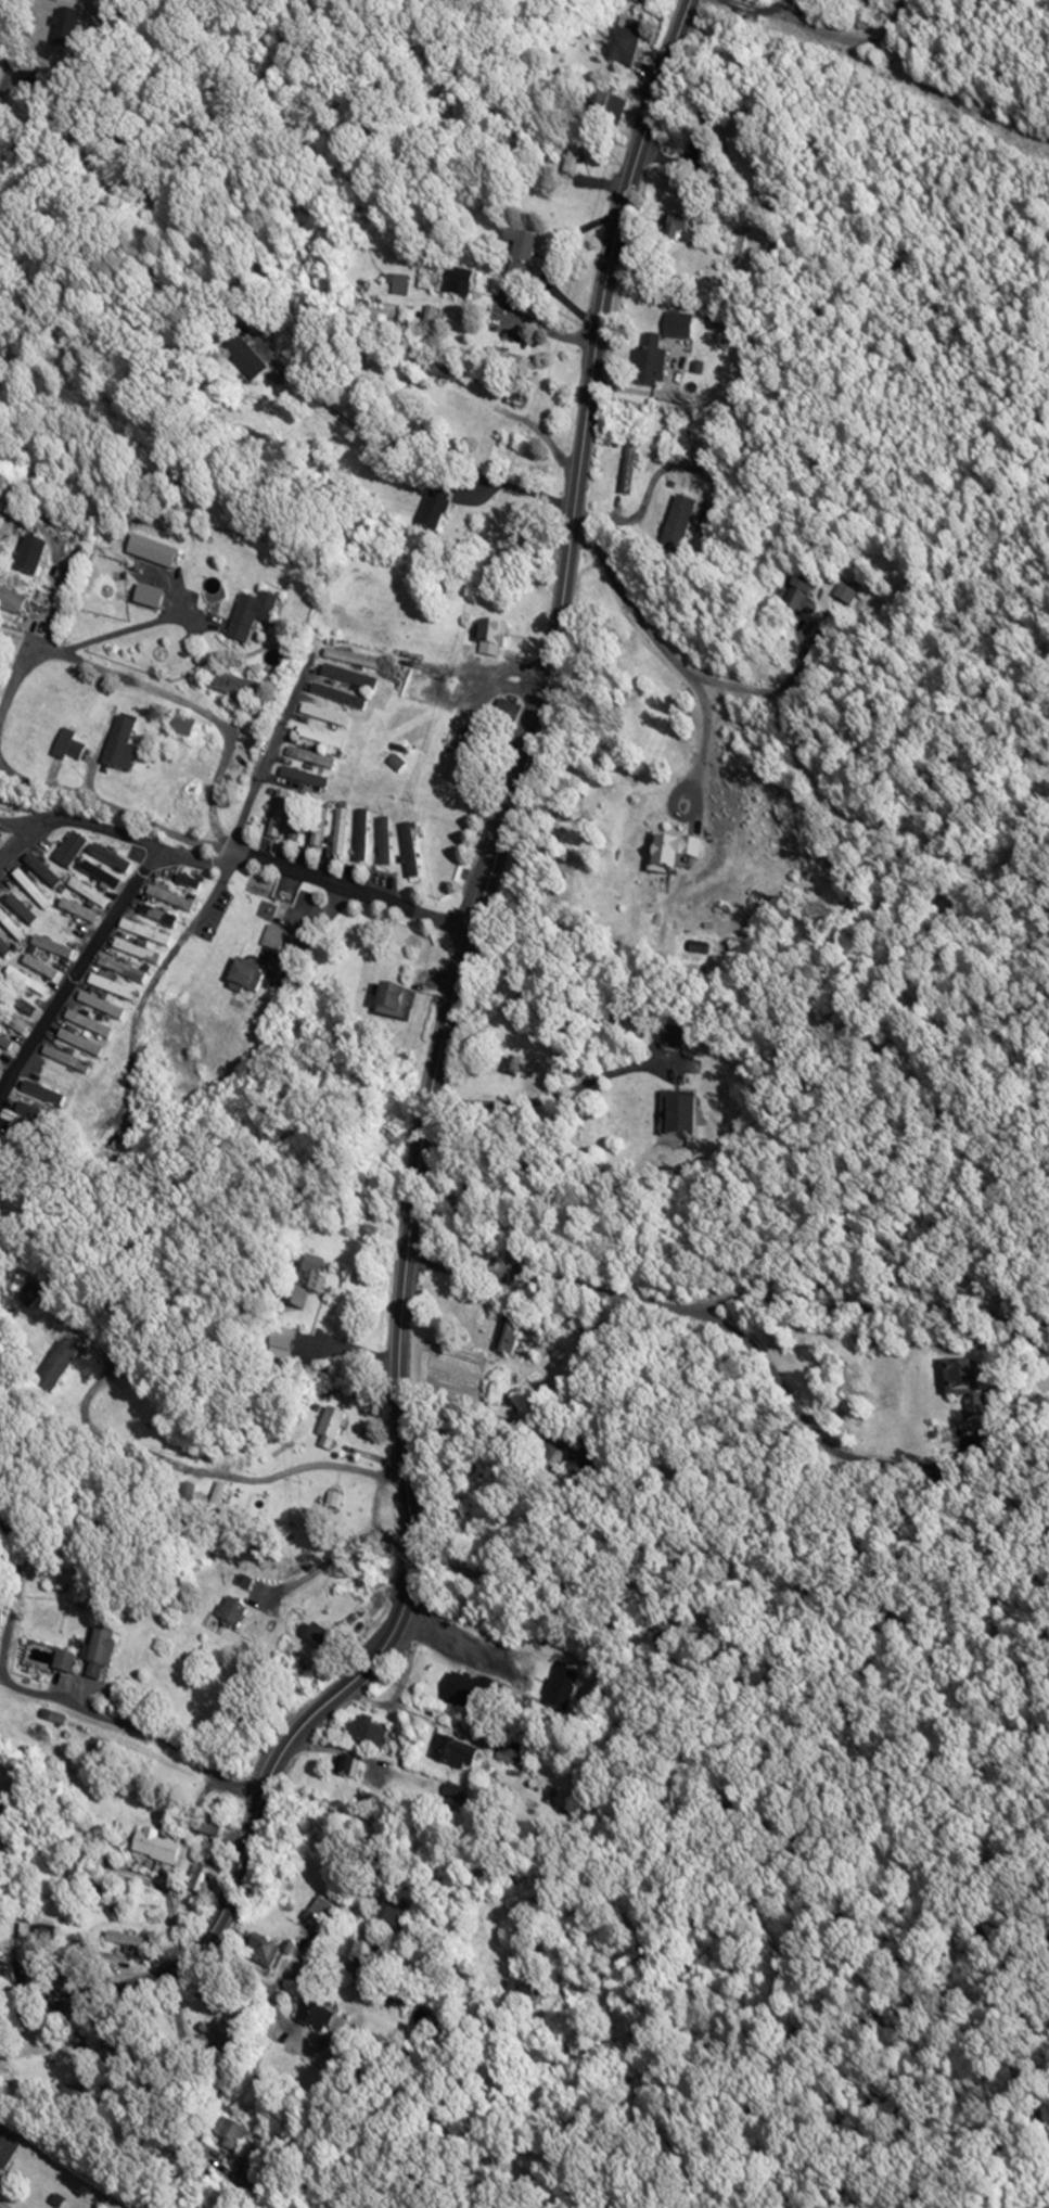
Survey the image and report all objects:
road: (776, 1)
road: (750, 8)
road: (826, 27)
road: (0, 119)
road: (550, 263)
road: (420, 454)
road: (76, 646)
road: (669, 652)
road: (763, 692)
road: (202, 704)
road: (270, 745)
road: (8, 770)
road: (113, 831)
road: (238, 848)
road: (312, 929)
road: (77, 968)
road: (552, 1098)
road: (430, 1100)
road: (885, 1307)
road: (711, 1316)
road: (202, 1468)
road: (376, 1522)
road: (695, 1557)
road: (137, 1726)
road: (579, 1758)
road: (127, 1865)
road: (251, 1982)
road: (398, 2032)
road: (250, 2065)
road: (51, 2102)
road: (328, 2150)

